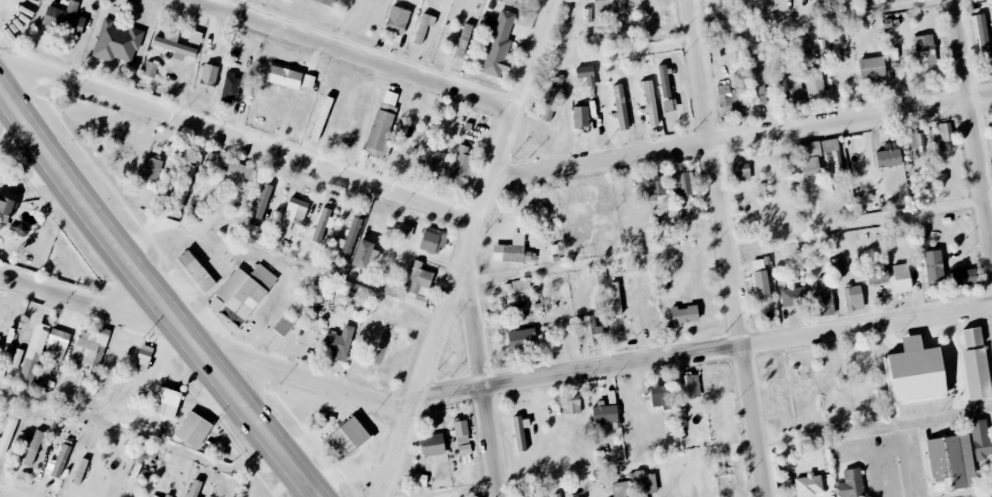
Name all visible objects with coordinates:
building: (325, 2)
road: (532, 6)
building: (608, 10)
building: (65, 18)
building: (396, 20)
road: (840, 23)
building: (863, 23)
building: (982, 36)
building: (463, 40)
building: (116, 43)
building: (174, 46)
building: (498, 46)
building: (925, 53)
road: (353, 57)
building: (871, 63)
building: (149, 69)
building: (873, 73)
building: (586, 75)
building: (283, 77)
building: (208, 78)
building: (308, 81)
building: (664, 81)
building: (759, 81)
building: (780, 84)
building: (814, 84)
building: (230, 88)
building: (798, 89)
building: (728, 98)
building: (552, 99)
building: (649, 102)
building: (669, 105)
building: (620, 107)
building: (580, 117)
road: (973, 121)
building: (382, 125)
building: (944, 132)
road: (742, 140)
road: (239, 142)
building: (916, 144)
building: (831, 154)
building: (810, 158)
building: (888, 158)
building: (430, 160)
building: (230, 167)
building: (459, 167)
building: (151, 168)
building: (742, 172)
building: (682, 185)
building: (655, 189)
building: (261, 204)
building: (6, 209)
building: (295, 210)
building: (322, 224)
building: (404, 231)
road: (205, 240)
building: (349, 240)
building: (432, 241)
road: (730, 242)
road: (469, 248)
road: (723, 248)
building: (512, 254)
building: (364, 255)
building: (837, 266)
building: (933, 266)
building: (195, 271)
building: (965, 277)
building: (901, 279)
building: (760, 280)
building: (417, 285)
building: (520, 285)
building: (386, 286)
building: (245, 289)
road: (156, 294)
building: (825, 294)
building: (793, 297)
building: (853, 298)
building: (616, 303)
building: (215, 304)
building: (3, 312)
building: (684, 315)
building: (232, 316)
building: (284, 324)
building: (588, 330)
building: (972, 337)
building: (38, 338)
building: (521, 340)
building: (57, 344)
road: (205, 344)
building: (338, 344)
building: (383, 344)
building: (91, 347)
road: (704, 349)
building: (143, 358)
building: (28, 370)
building: (916, 372)
building: (977, 374)
road: (482, 377)
building: (689, 387)
building: (656, 396)
building: (168, 401)
building: (573, 405)
building: (605, 414)
building: (193, 430)
building: (461, 432)
building: (520, 433)
building: (6, 436)
building: (351, 436)
road: (140, 437)
building: (981, 440)
building: (432, 446)
building: (33, 447)
building: (464, 450)
road: (717, 454)
building: (60, 461)
building: (951, 463)
building: (420, 480)
road: (670, 480)
building: (645, 483)
building: (851, 483)
building: (808, 485)
building: (621, 489)
road: (8, 494)
building: (555, 495)
building: (151, 496)
building: (534, 496)

